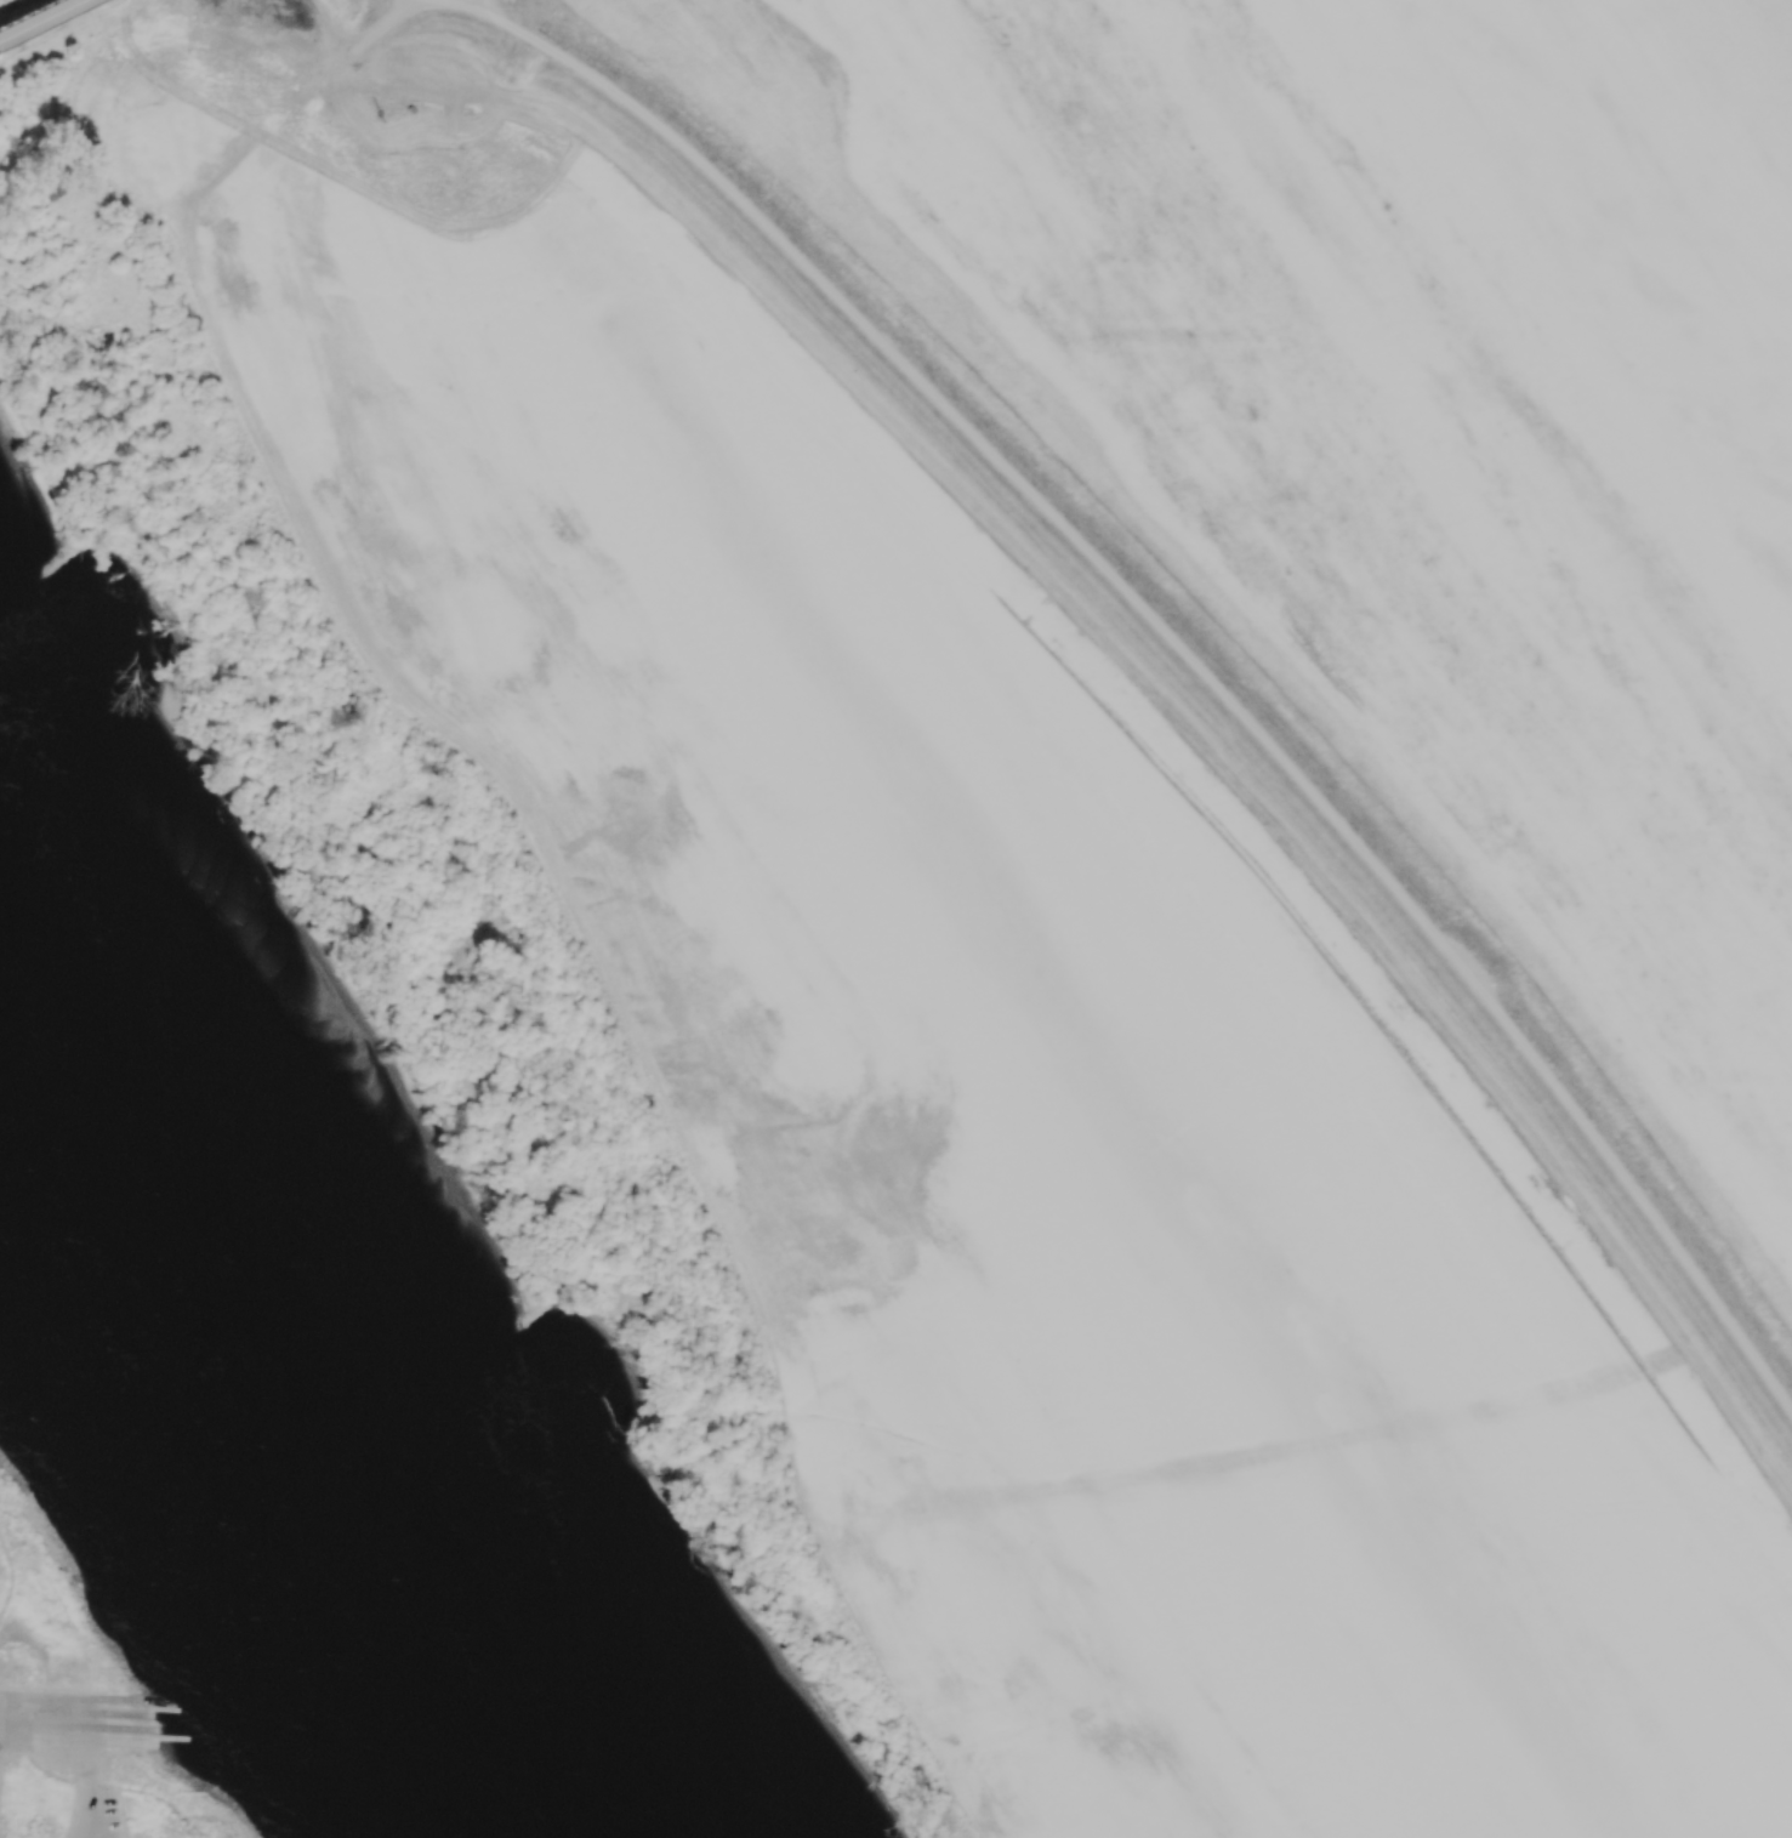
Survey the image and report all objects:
road: (36, 18)
road: (368, 38)
road: (136, 206)
road: (1179, 643)
crop: (1013, 1071)
river: (272, 1376)
park: (184, 1542)
road: (8, 1577)
road: (47, 1581)
building: (11, 1660)
pier: (132, 1707)
road: (39, 1768)
road: (85, 1782)
road: (148, 1797)
parking lot: (98, 1816)

